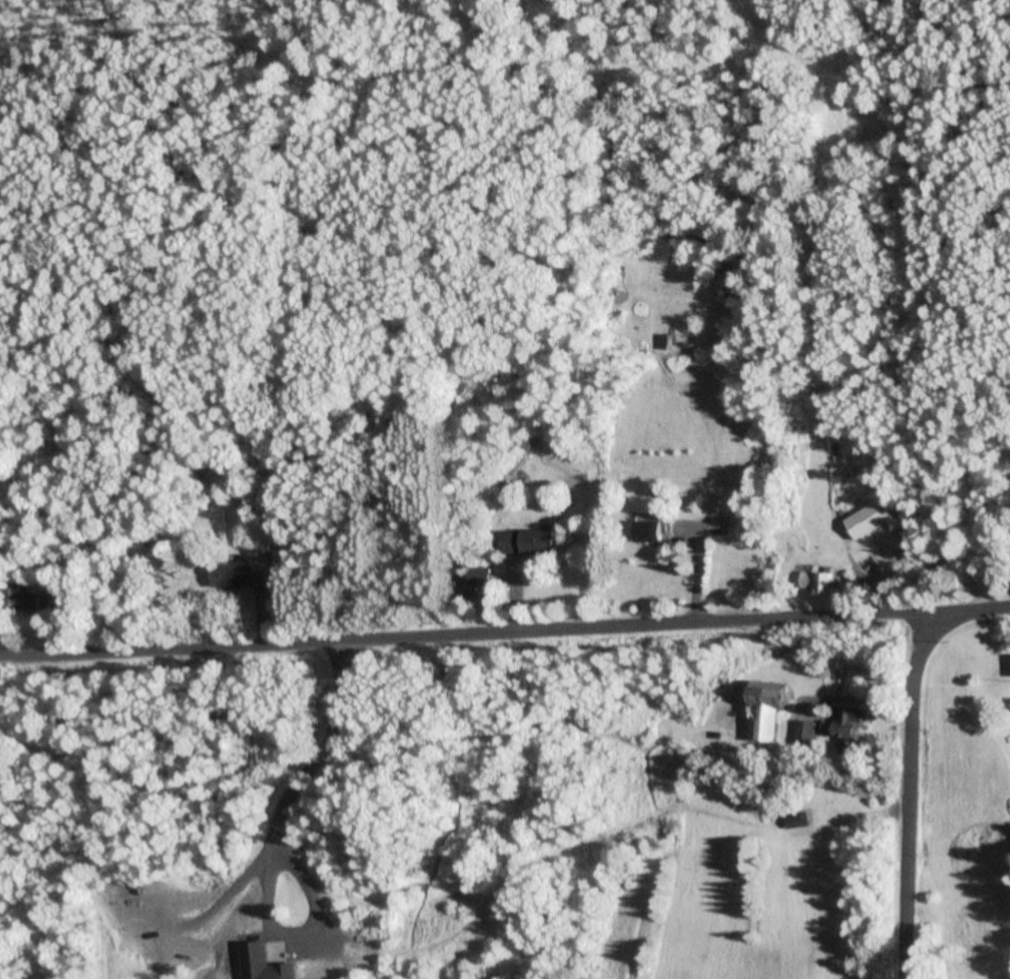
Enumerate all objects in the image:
building: (666, 343)
building: (871, 519)
building: (651, 529)
building: (531, 543)
building: (240, 570)
building: (820, 583)
building: (20, 600)
building: (48, 601)
road: (970, 615)
road: (465, 646)
building: (774, 707)
building: (847, 730)
building: (806, 732)
road: (917, 798)

